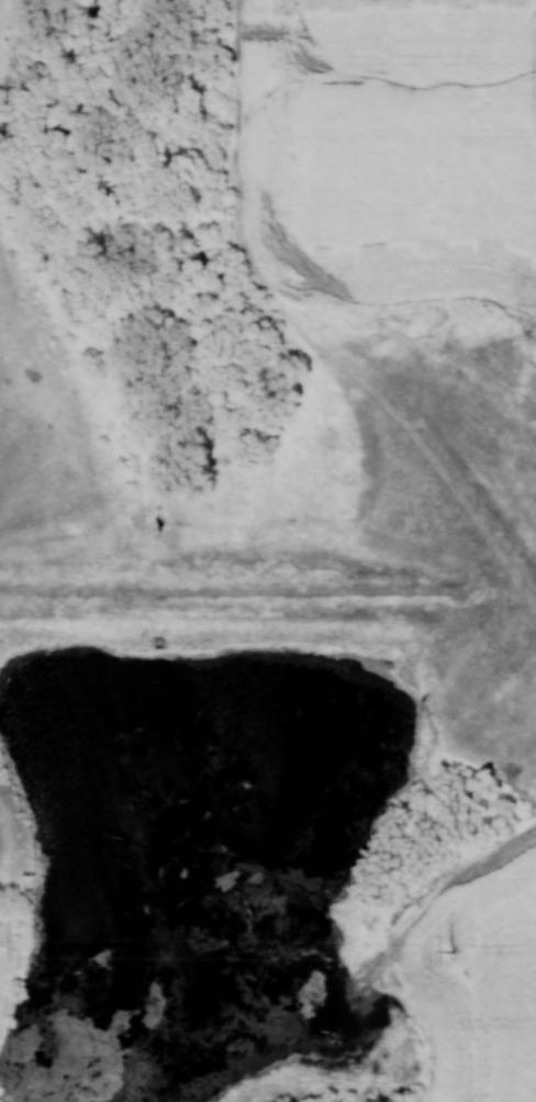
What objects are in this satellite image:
crop: (389, 148)
dam: (257, 598)
power tower: (451, 948)
crop: (476, 973)

